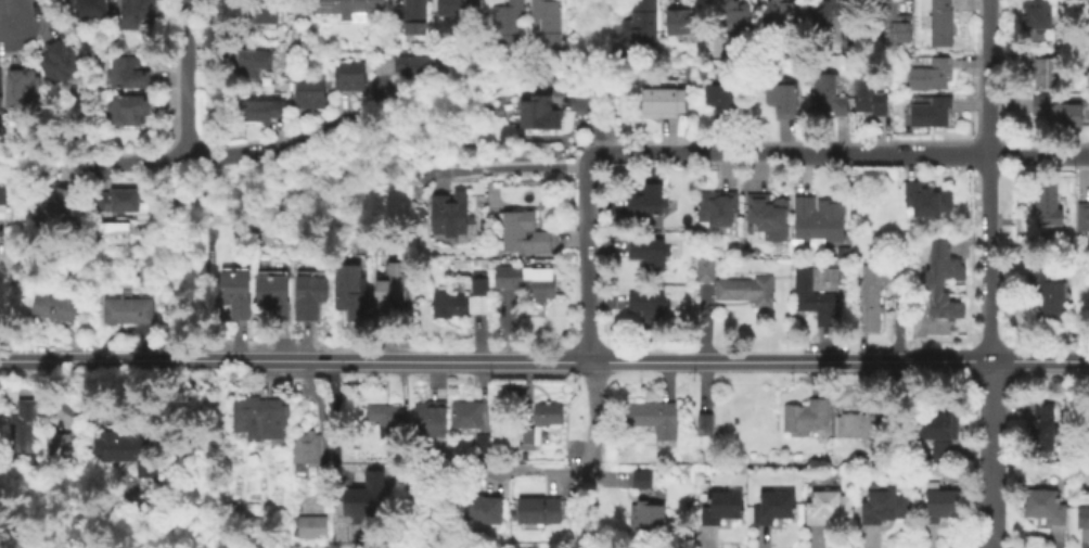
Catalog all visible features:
building: (348, 8)
building: (459, 8)
road: (3, 9)
building: (780, 9)
building: (89, 10)
building: (412, 12)
building: (1067, 12)
building: (139, 13)
building: (1037, 13)
building: (260, 14)
building: (733, 14)
building: (828, 15)
road: (1, 21)
building: (508, 21)
building: (548, 21)
building: (895, 21)
building: (684, 22)
building: (641, 24)
building: (943, 24)
road: (987, 26)
building: (848, 43)
road: (587, 44)
building: (415, 63)
building: (255, 64)
building: (60, 65)
building: (1048, 73)
building: (127, 74)
building: (347, 75)
building: (932, 76)
road: (185, 78)
building: (830, 91)
building: (307, 93)
building: (869, 93)
building: (0, 95)
building: (782, 95)
building: (23, 97)
building: (721, 97)
building: (662, 99)
road: (986, 103)
building: (1042, 106)
building: (261, 107)
building: (128, 112)
building: (539, 112)
building: (933, 113)
road: (594, 122)
road: (284, 146)
road: (832, 153)
road: (1081, 154)
road: (470, 161)
road: (586, 161)
road: (138, 166)
road: (501, 169)
road: (986, 191)
building: (928, 200)
building: (644, 201)
building: (115, 203)
building: (2, 204)
building: (1048, 204)
building: (717, 206)
building: (447, 212)
building: (59, 213)
building: (1084, 216)
building: (767, 218)
building: (819, 220)
building: (108, 228)
building: (523, 231)
building: (648, 248)
building: (705, 270)
building: (525, 279)
building: (943, 282)
building: (389, 286)
building: (748, 288)
building: (348, 291)
building: (233, 293)
building: (812, 294)
building: (1048, 294)
building: (272, 295)
building: (309, 296)
building: (461, 301)
building: (648, 302)
building: (869, 306)
building: (126, 310)
building: (53, 313)
road: (589, 319)
road: (543, 359)
road: (989, 387)
building: (260, 411)
building: (383, 415)
building: (466, 416)
building: (807, 417)
building: (431, 418)
building: (656, 419)
road: (335, 422)
building: (706, 422)
building: (540, 423)
building: (21, 424)
building: (935, 424)
building: (1043, 425)
building: (867, 432)
building: (484, 446)
building: (61, 447)
building: (934, 449)
building: (129, 450)
building: (308, 450)
road: (540, 472)
building: (642, 477)
building: (362, 497)
building: (940, 505)
building: (774, 506)
building: (828, 506)
building: (883, 506)
building: (1043, 507)
building: (482, 508)
building: (723, 508)
building: (539, 509)
building: (650, 515)
building: (1082, 518)
building: (313, 527)

